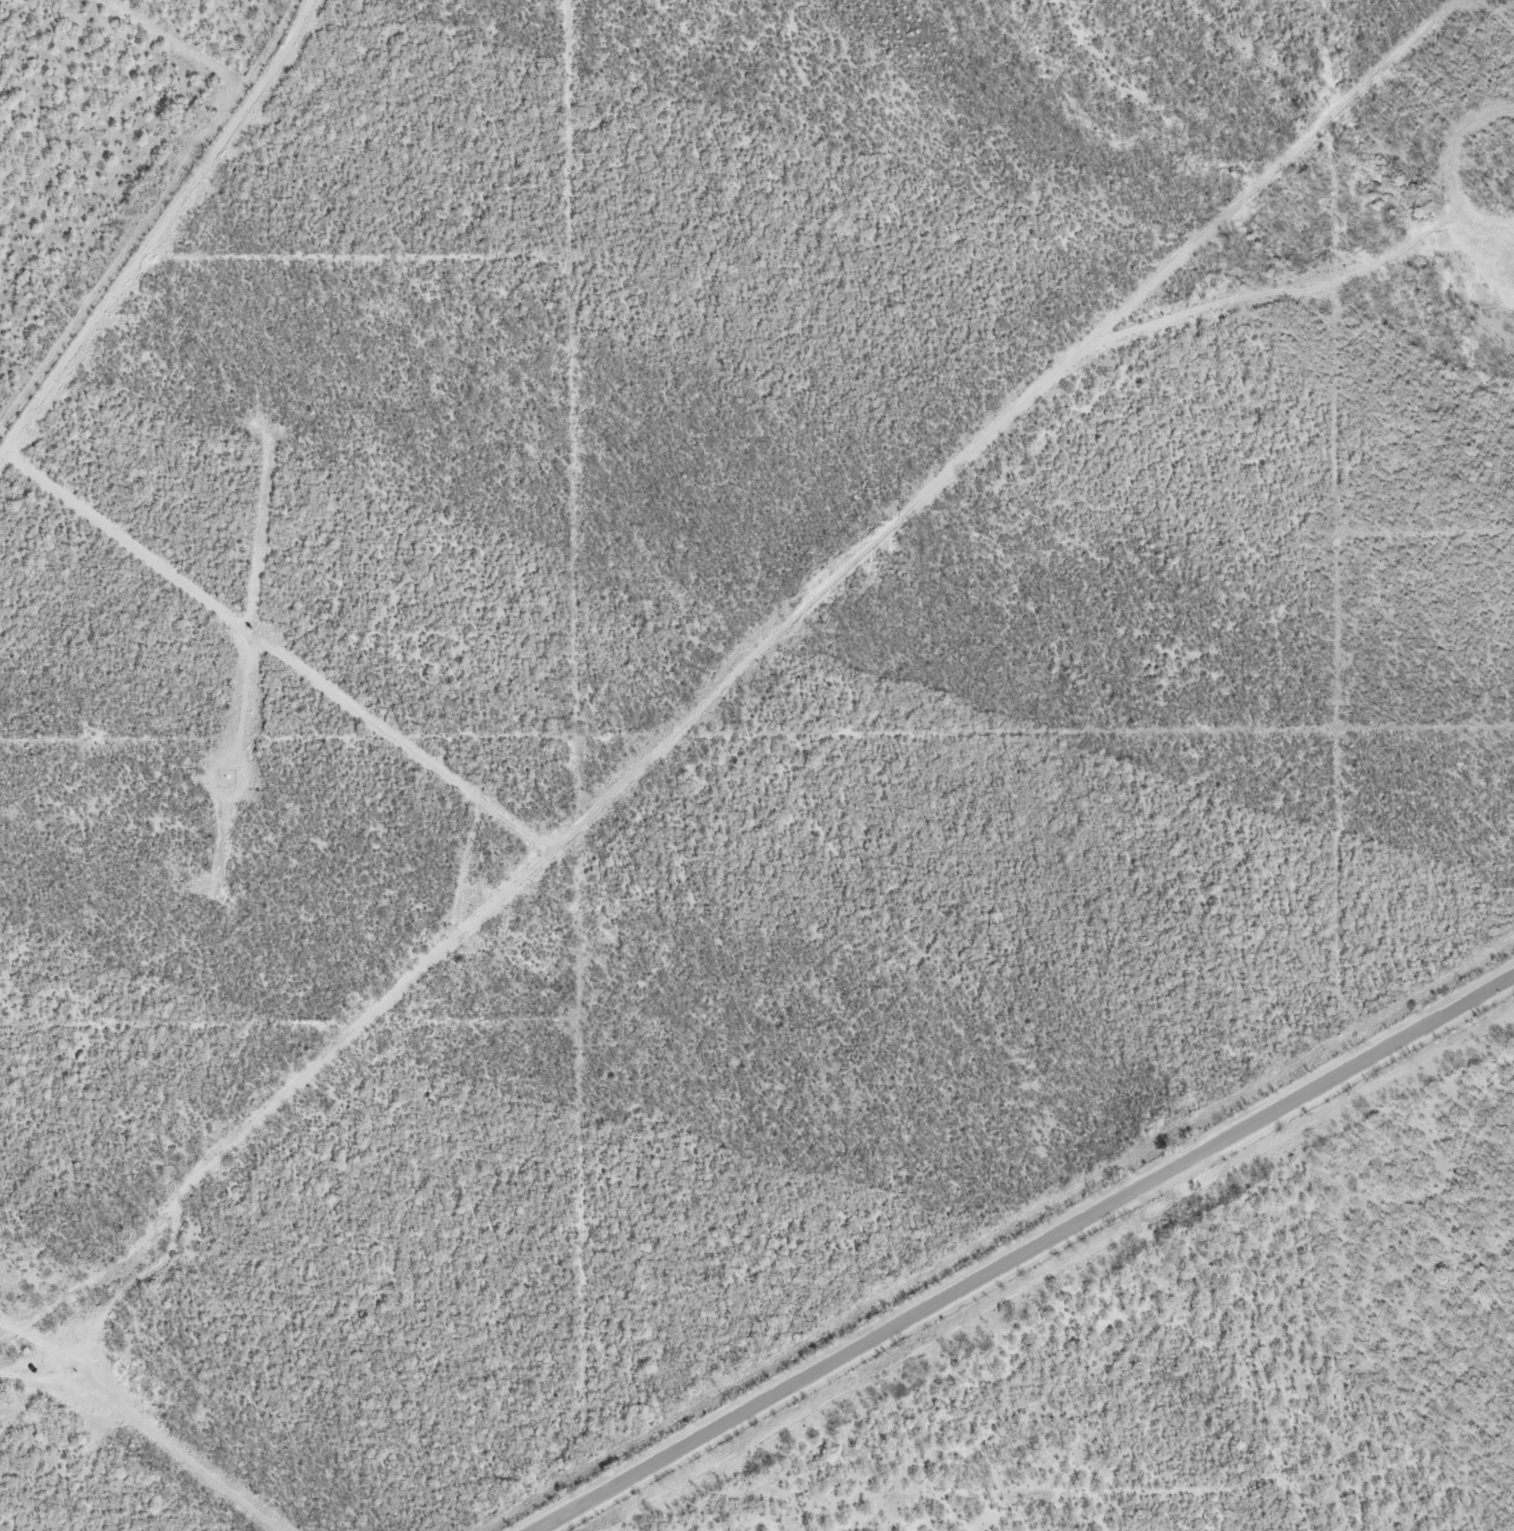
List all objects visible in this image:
road: (1027, 1255)

